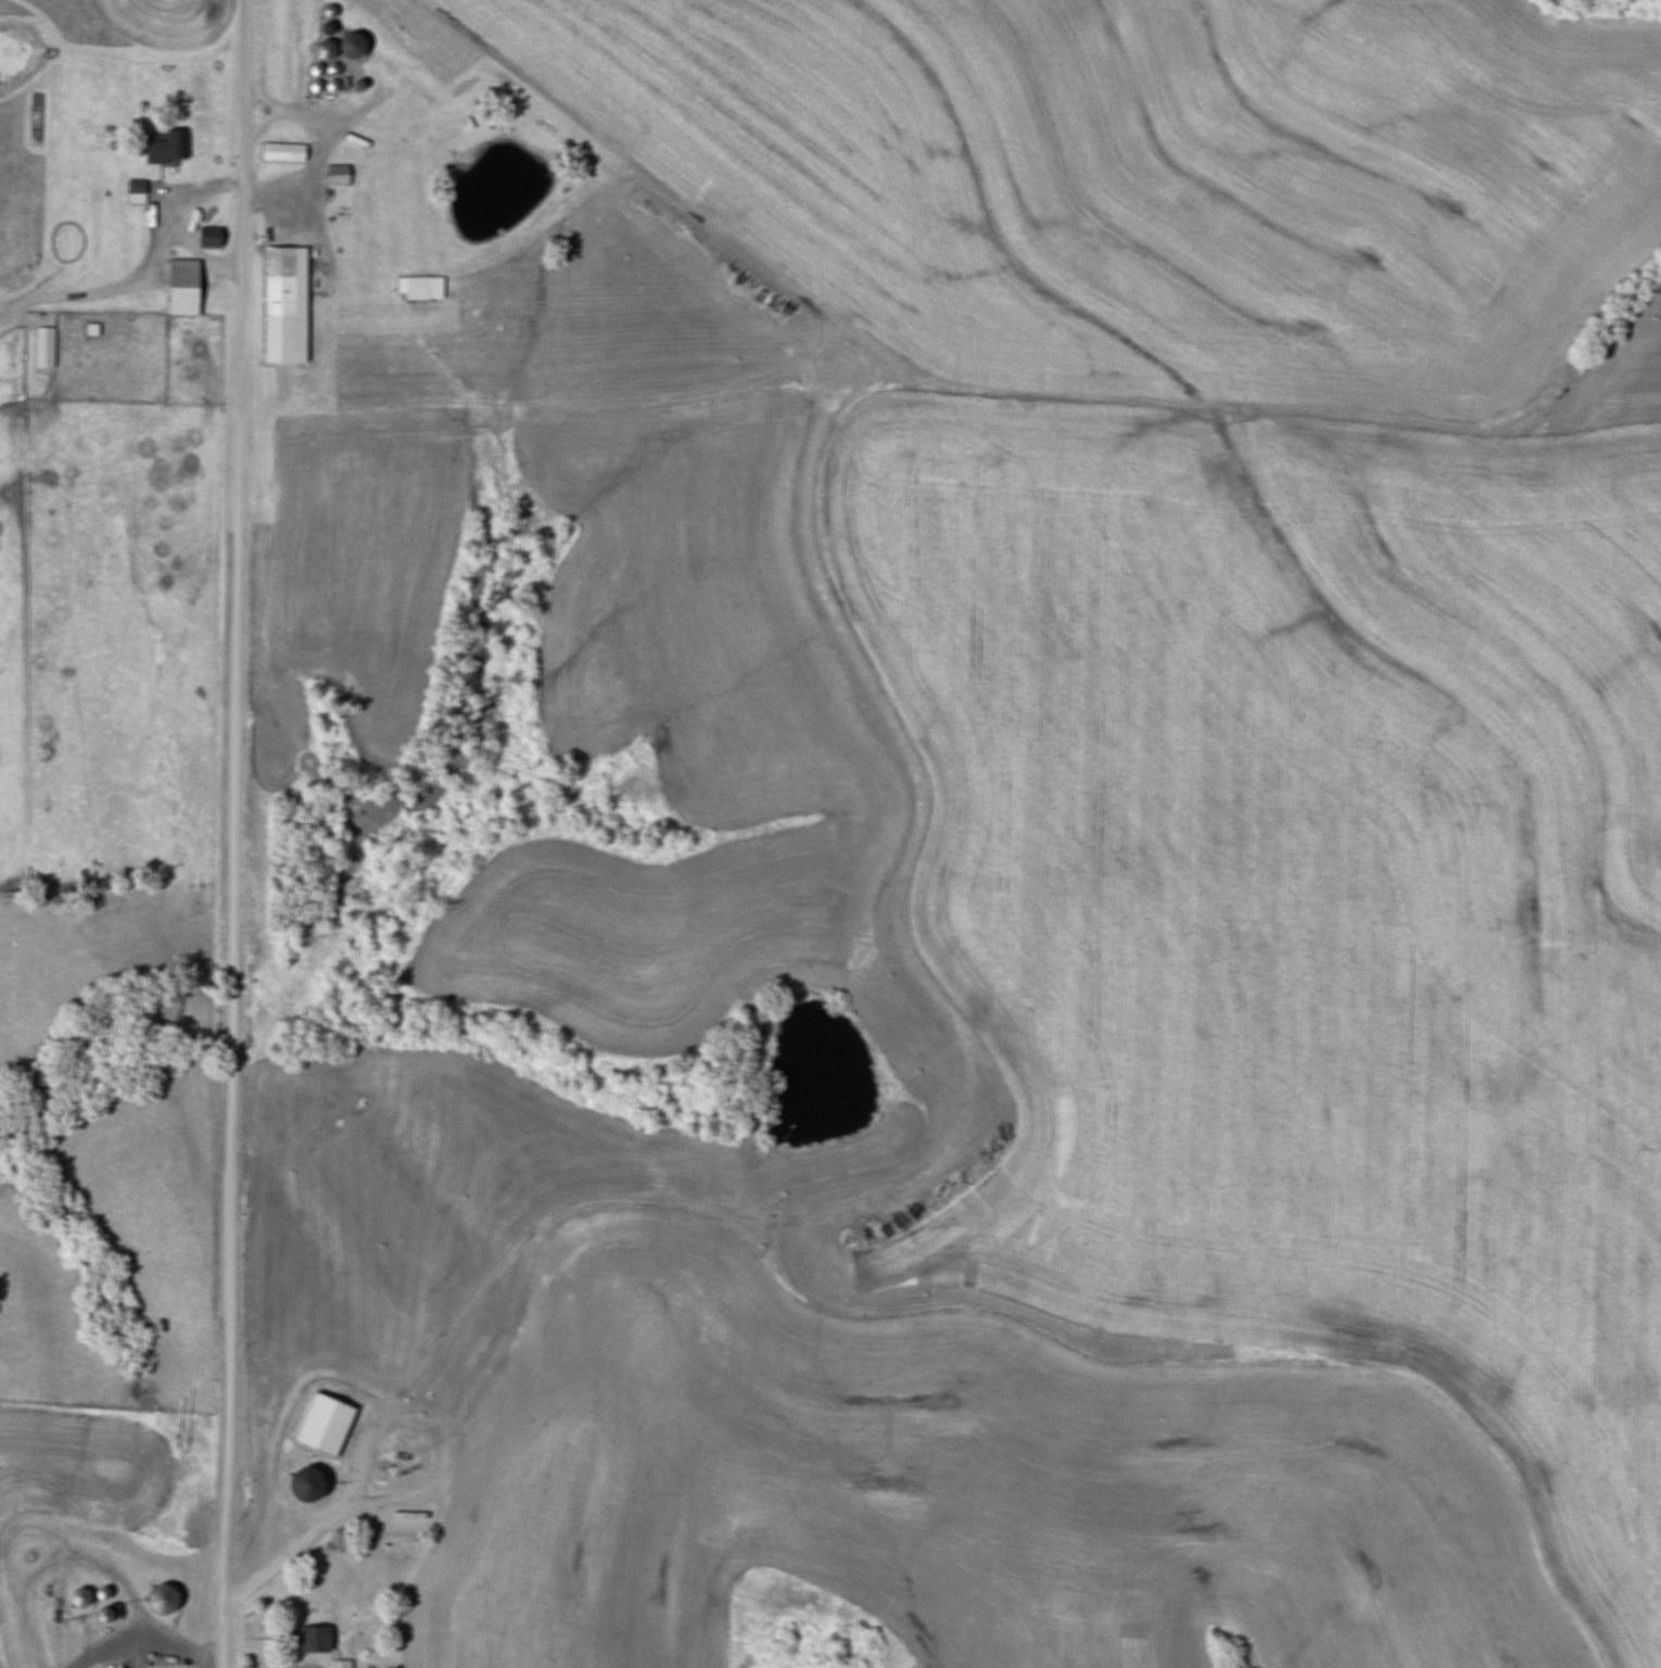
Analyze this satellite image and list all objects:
building: (348, 43)
building: (324, 49)
building: (167, 143)
building: (281, 152)
building: (335, 174)
building: (135, 191)
building: (207, 236)
road: (137, 274)
building: (181, 287)
building: (283, 304)
building: (42, 346)
road: (232, 833)
building: (322, 1424)
building: (304, 1484)
building: (78, 1596)
building: (160, 1597)
building: (101, 1613)
building: (309, 1638)
building: (340, 1664)

